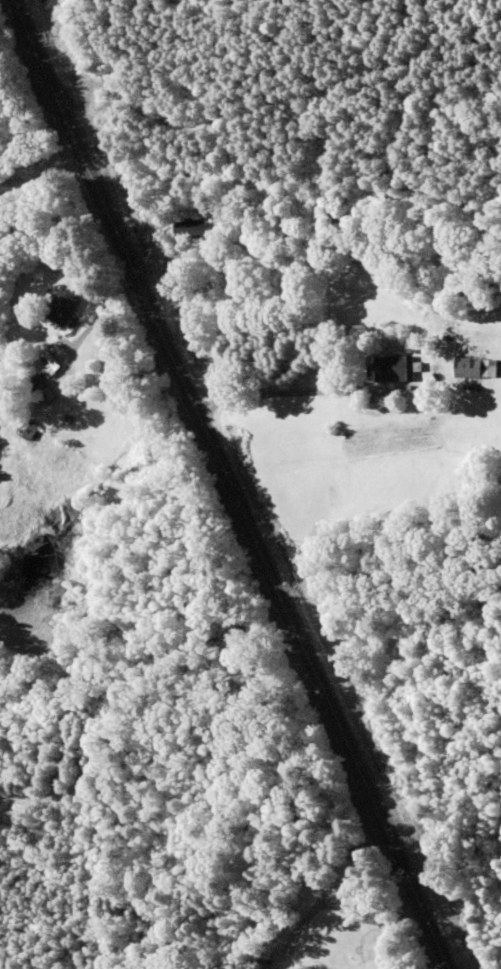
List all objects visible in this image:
building: (196, 230)
building: (61, 307)
building: (51, 369)
building: (394, 370)
building: (474, 373)
building: (41, 391)
building: (27, 430)
road: (308, 444)
road: (224, 486)

